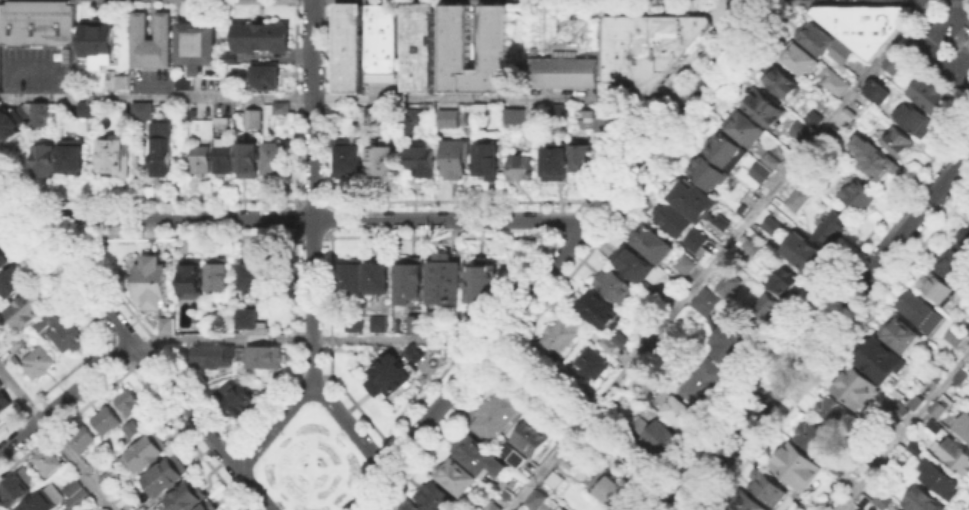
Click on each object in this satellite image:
building: (36, 22)
building: (861, 23)
building: (454, 34)
building: (380, 35)
building: (816, 37)
building: (264, 38)
building: (150, 40)
building: (102, 42)
building: (201, 43)
building: (968, 43)
building: (347, 46)
building: (418, 46)
building: (646, 46)
road: (928, 46)
building: (841, 51)
building: (799, 58)
building: (898, 62)
building: (564, 71)
building: (267, 79)
building: (185, 82)
building: (781, 82)
building: (120, 83)
building: (836, 84)
building: (875, 90)
building: (930, 96)
road: (341, 98)
building: (764, 107)
building: (557, 109)
building: (89, 110)
building: (144, 112)
building: (42, 114)
building: (185, 114)
building: (853, 115)
building: (279, 117)
building: (812, 117)
building: (374, 118)
building: (411, 119)
building: (252, 120)
building: (449, 120)
building: (915, 120)
building: (516, 122)
building: (591, 123)
building: (615, 124)
building: (12, 125)
building: (747, 129)
building: (801, 129)
building: (901, 143)
building: (162, 149)
building: (726, 152)
building: (74, 158)
building: (116, 158)
building: (768, 158)
building: (872, 158)
building: (278, 159)
building: (454, 160)
building: (226, 161)
building: (351, 161)
building: (487, 161)
building: (46, 162)
building: (203, 162)
building: (384, 162)
building: (422, 162)
building: (568, 162)
building: (249, 163)
building: (520, 168)
building: (756, 172)
building: (707, 173)
road: (311, 191)
building: (795, 197)
building: (861, 197)
building: (694, 201)
road: (310, 217)
building: (672, 222)
building: (722, 222)
building: (769, 224)
building: (830, 225)
road: (578, 235)
building: (697, 241)
building: (965, 242)
building: (654, 245)
building: (800, 250)
road: (716, 256)
building: (6, 257)
building: (687, 267)
building: (636, 268)
building: (957, 269)
building: (257, 274)
building: (219, 276)
building: (377, 278)
building: (190, 279)
building: (352, 281)
building: (14, 282)
building: (409, 282)
building: (444, 282)
building: (785, 282)
building: (154, 283)
building: (484, 283)
building: (725, 284)
building: (617, 288)
building: (937, 289)
building: (244, 300)
building: (704, 300)
building: (763, 307)
building: (26, 309)
building: (601, 310)
building: (918, 311)
building: (245, 317)
building: (46, 322)
building: (356, 324)
building: (417, 324)
road: (117, 325)
building: (167, 325)
building: (379, 325)
building: (968, 329)
road: (822, 330)
building: (903, 334)
building: (952, 336)
building: (69, 337)
road: (309, 337)
building: (560, 337)
building: (621, 340)
building: (15, 343)
building: (607, 344)
building: (734, 345)
building: (217, 358)
building: (267, 358)
building: (881, 360)
building: (41, 362)
building: (592, 364)
building: (395, 372)
building: (963, 378)
building: (701, 381)
building: (1, 384)
building: (858, 389)
road: (65, 396)
building: (3, 400)
building: (238, 401)
building: (917, 401)
building: (131, 403)
building: (938, 405)
building: (673, 407)
building: (833, 410)
building: (898, 415)
building: (498, 417)
building: (105, 421)
road: (272, 424)
road: (348, 424)
building: (933, 425)
building: (962, 425)
road: (589, 426)
building: (134, 428)
road: (905, 432)
building: (528, 437)
building: (659, 437)
building: (811, 437)
road: (56, 440)
building: (83, 440)
building: (914, 447)
building: (149, 452)
building: (510, 454)
building: (956, 457)
building: (482, 458)
building: (50, 460)
building: (565, 461)
building: (98, 463)
building: (798, 466)
building: (110, 476)
building: (167, 478)
building: (458, 478)
building: (551, 480)
building: (943, 483)
building: (17, 486)
building: (70, 486)
building: (767, 488)
road: (252, 489)
road: (368, 489)
building: (609, 490)
building: (77, 495)
building: (533, 497)
building: (439, 498)
building: (185, 499)
building: (882, 500)
building: (44, 501)
building: (924, 502)
building: (746, 503)
building: (411, 506)
building: (488, 506)
building: (206, 507)
building: (808, 508)
building: (787, 509)
building: (897, 509)

